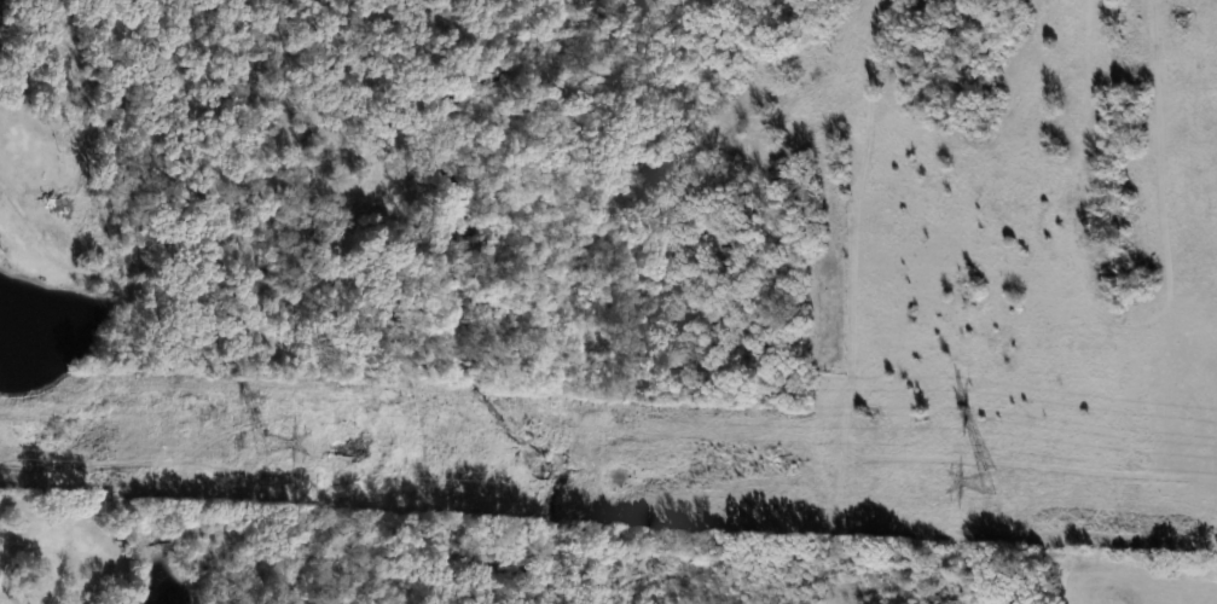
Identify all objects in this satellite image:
power tower: (262, 442)
power tower: (989, 481)

